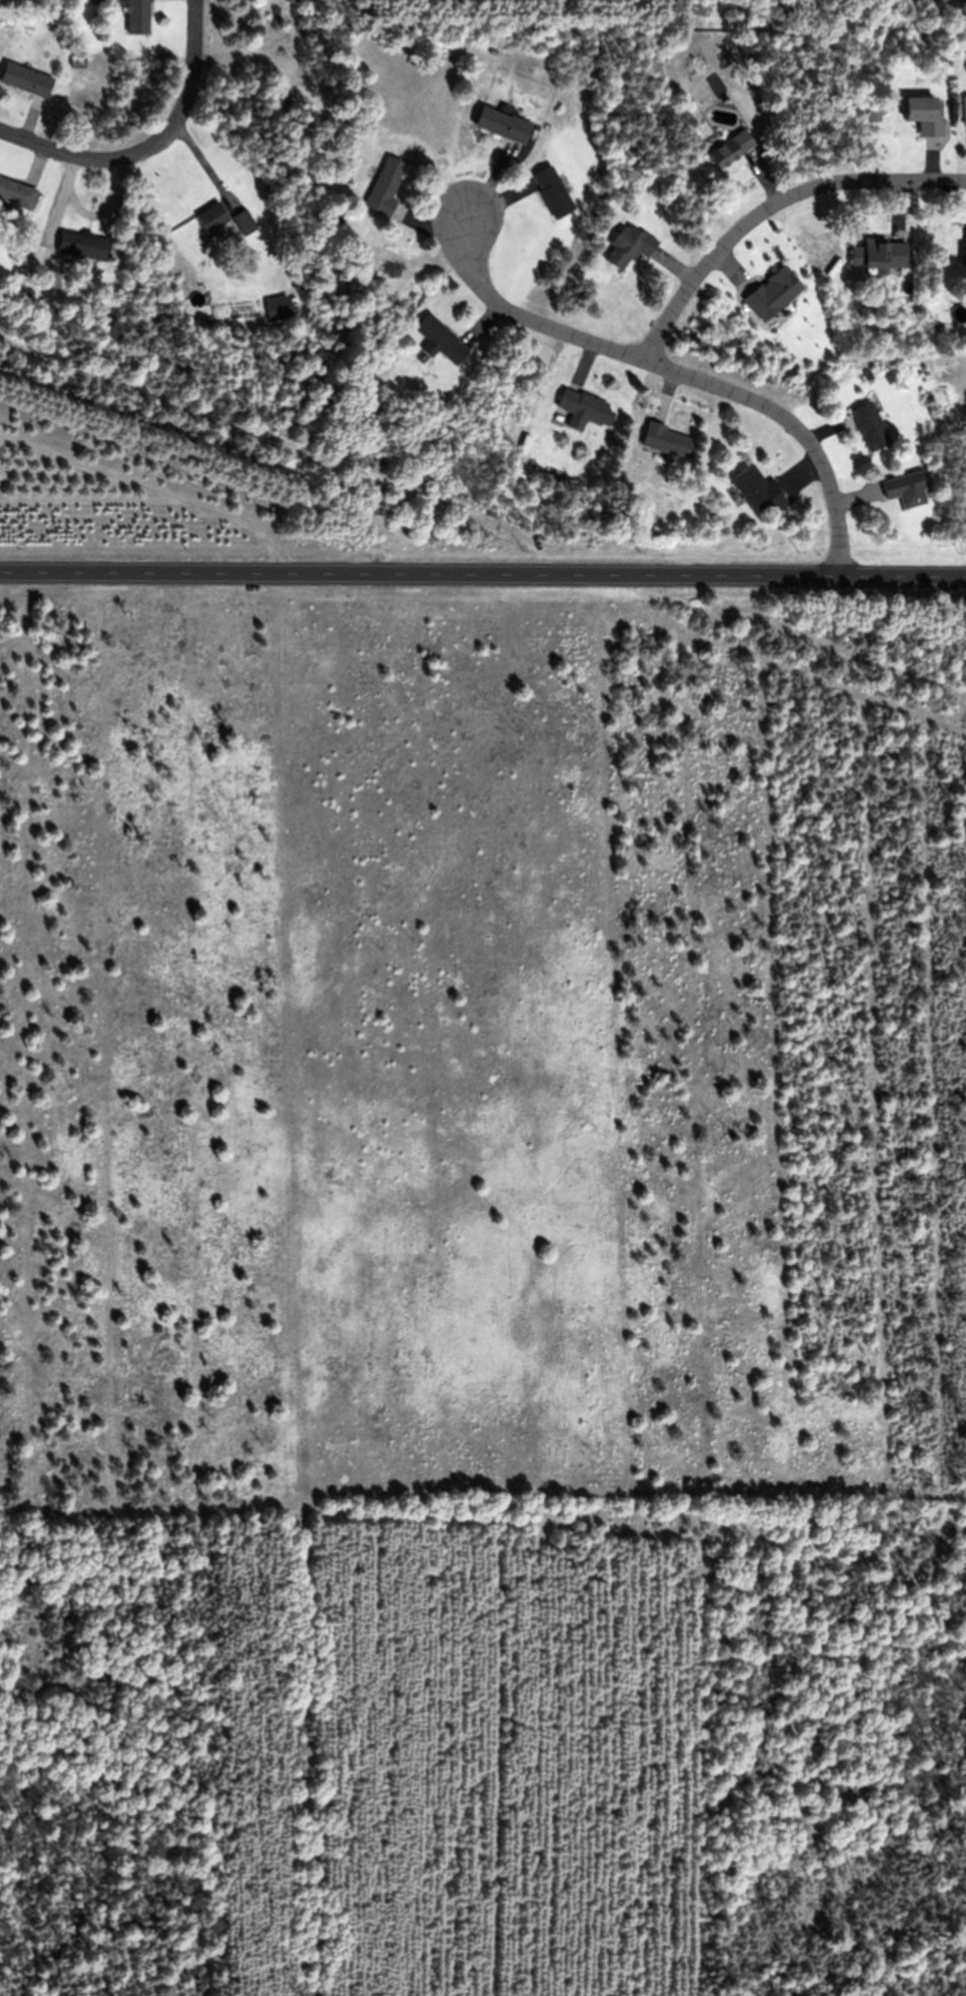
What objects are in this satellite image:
building: (95, 1)
building: (304, 2)
building: (135, 15)
building: (78, 59)
building: (25, 79)
building: (108, 84)
road: (187, 92)
building: (964, 111)
building: (873, 113)
building: (923, 114)
building: (502, 124)
building: (730, 149)
road: (62, 152)
building: (385, 187)
building: (17, 193)
building: (556, 199)
road: (770, 206)
building: (212, 218)
building: (245, 221)
building: (83, 245)
building: (629, 246)
building: (964, 253)
building: (879, 254)
building: (292, 266)
building: (772, 293)
building: (278, 307)
building: (938, 326)
building: (440, 339)
building: (806, 345)
road: (682, 373)
building: (585, 406)
building: (869, 426)
building: (666, 440)
building: (907, 490)
building: (758, 492)
crop: (116, 500)
building: (611, 510)
road: (483, 566)

